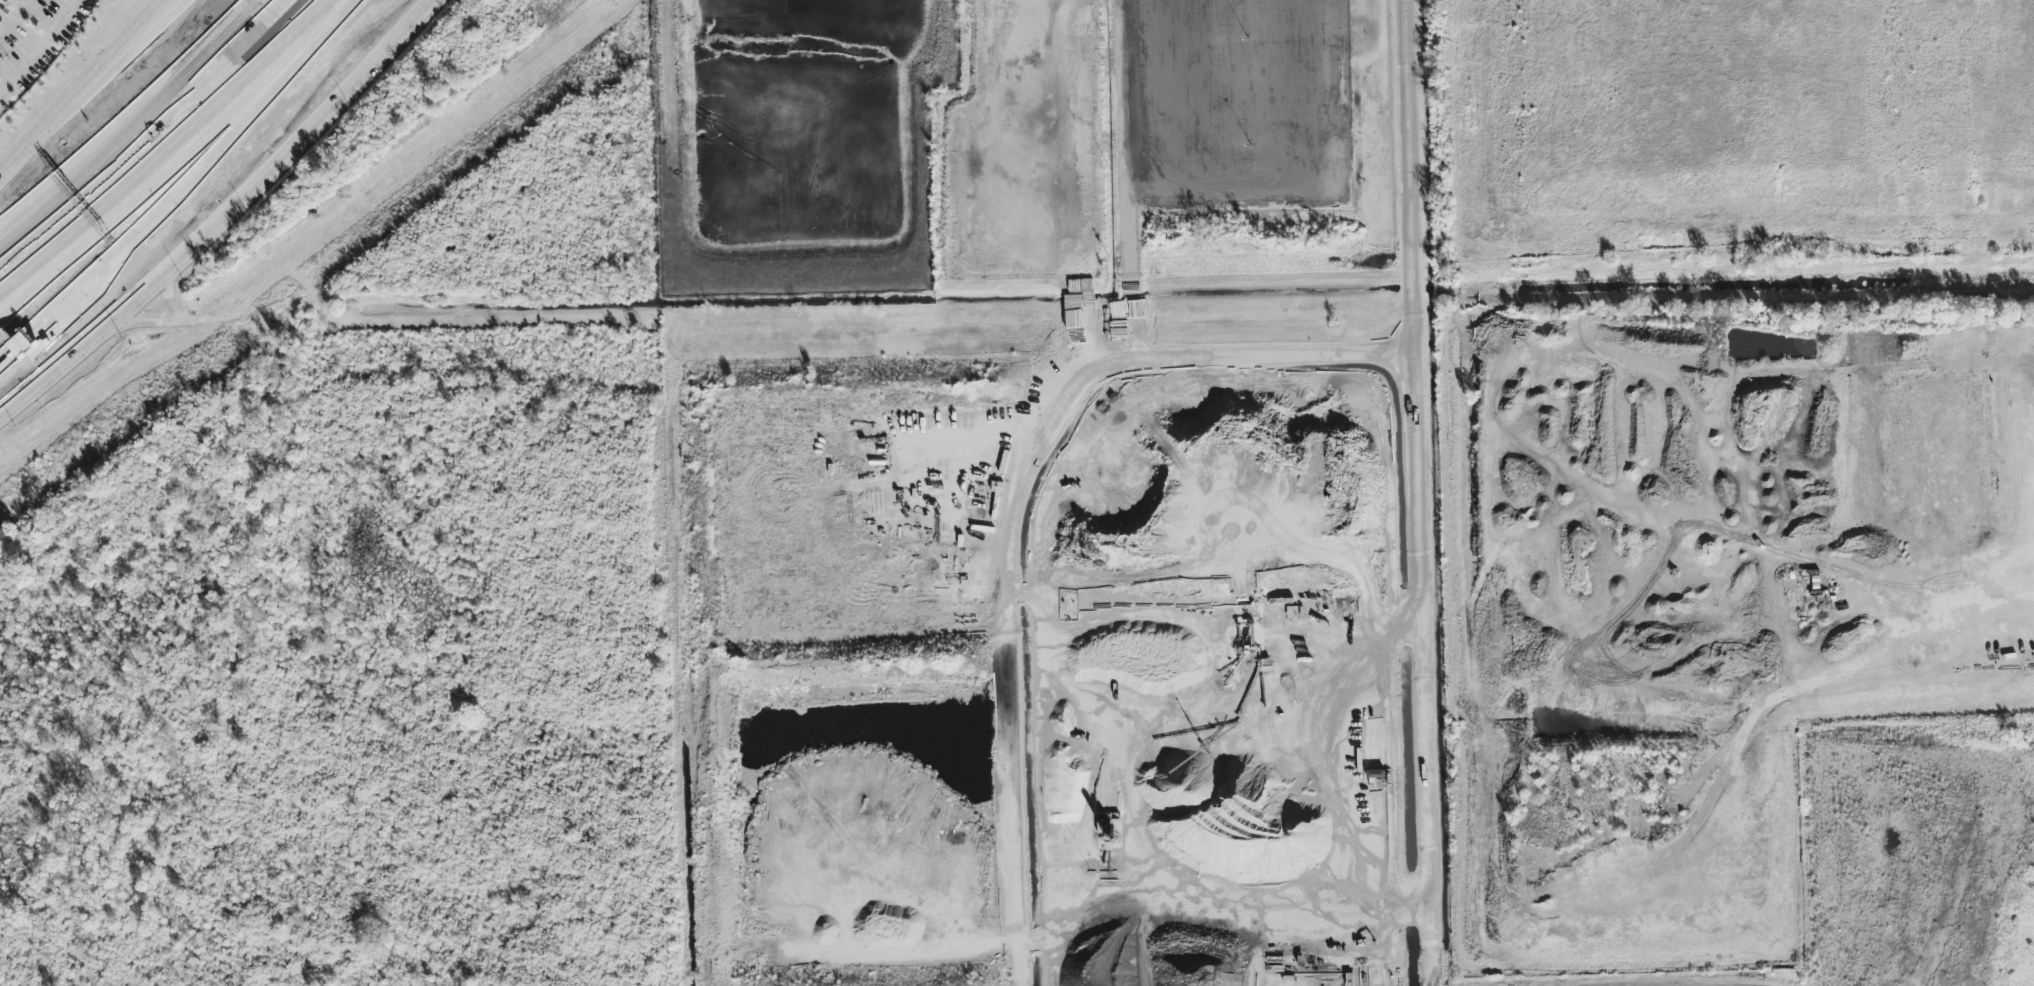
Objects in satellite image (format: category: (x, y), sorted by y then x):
road: (865, 5)
road: (15, 17)
road: (126, 37)
parking lot: (33, 39)
road: (39, 46)
road: (77, 83)
road: (1056, 125)
road: (138, 133)
road: (172, 158)
road: (77, 165)
road: (1126, 177)
road: (152, 209)
road: (226, 214)
road: (1156, 355)
road: (2013, 432)
road: (1423, 492)
road: (1235, 560)
road: (1918, 663)
road: (1015, 892)

